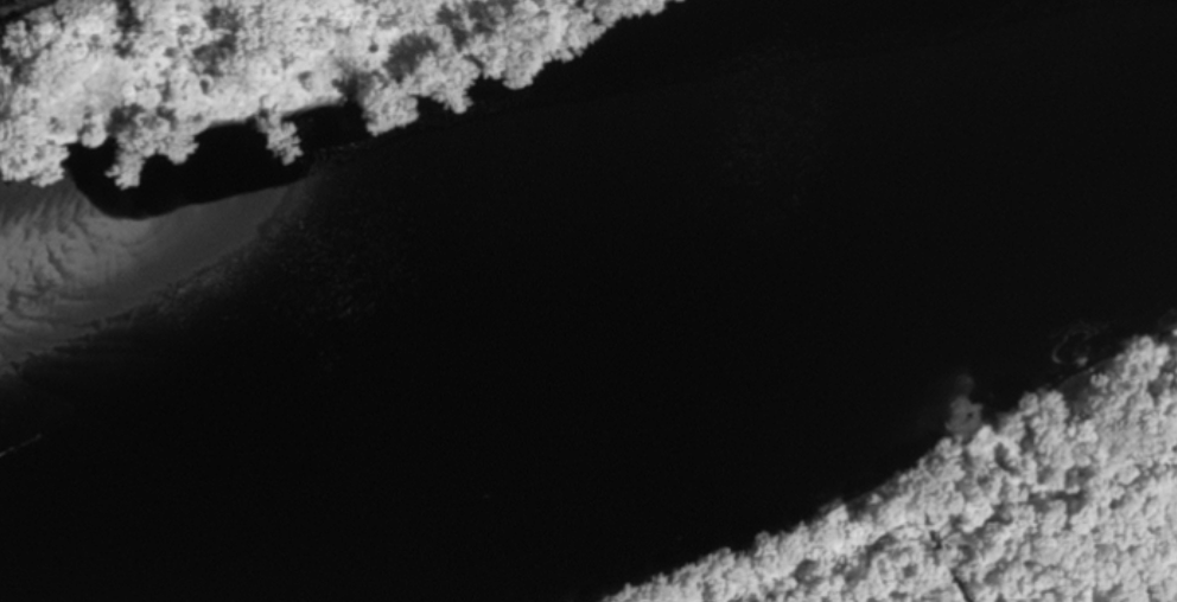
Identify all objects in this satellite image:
river: (651, 403)
park: (753, 423)

